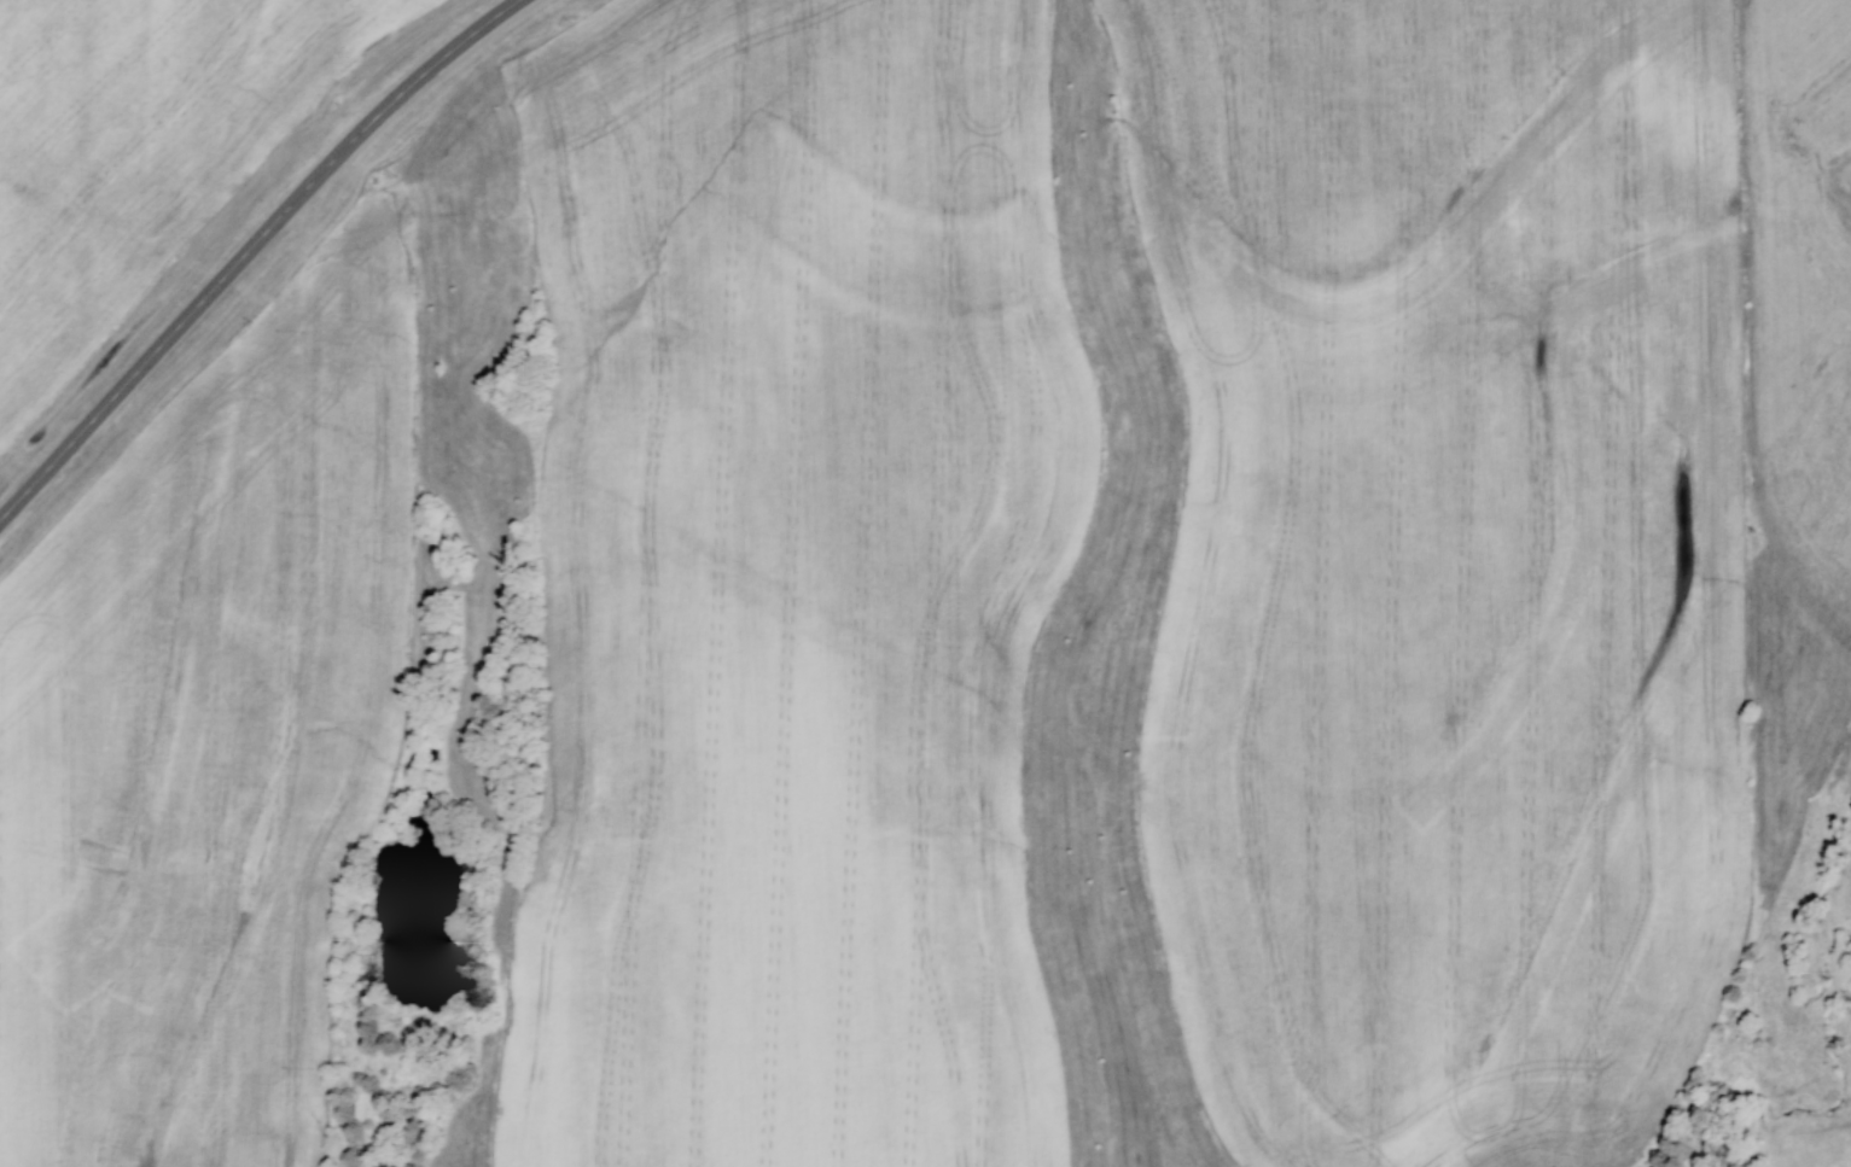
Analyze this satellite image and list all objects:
road: (250, 249)

